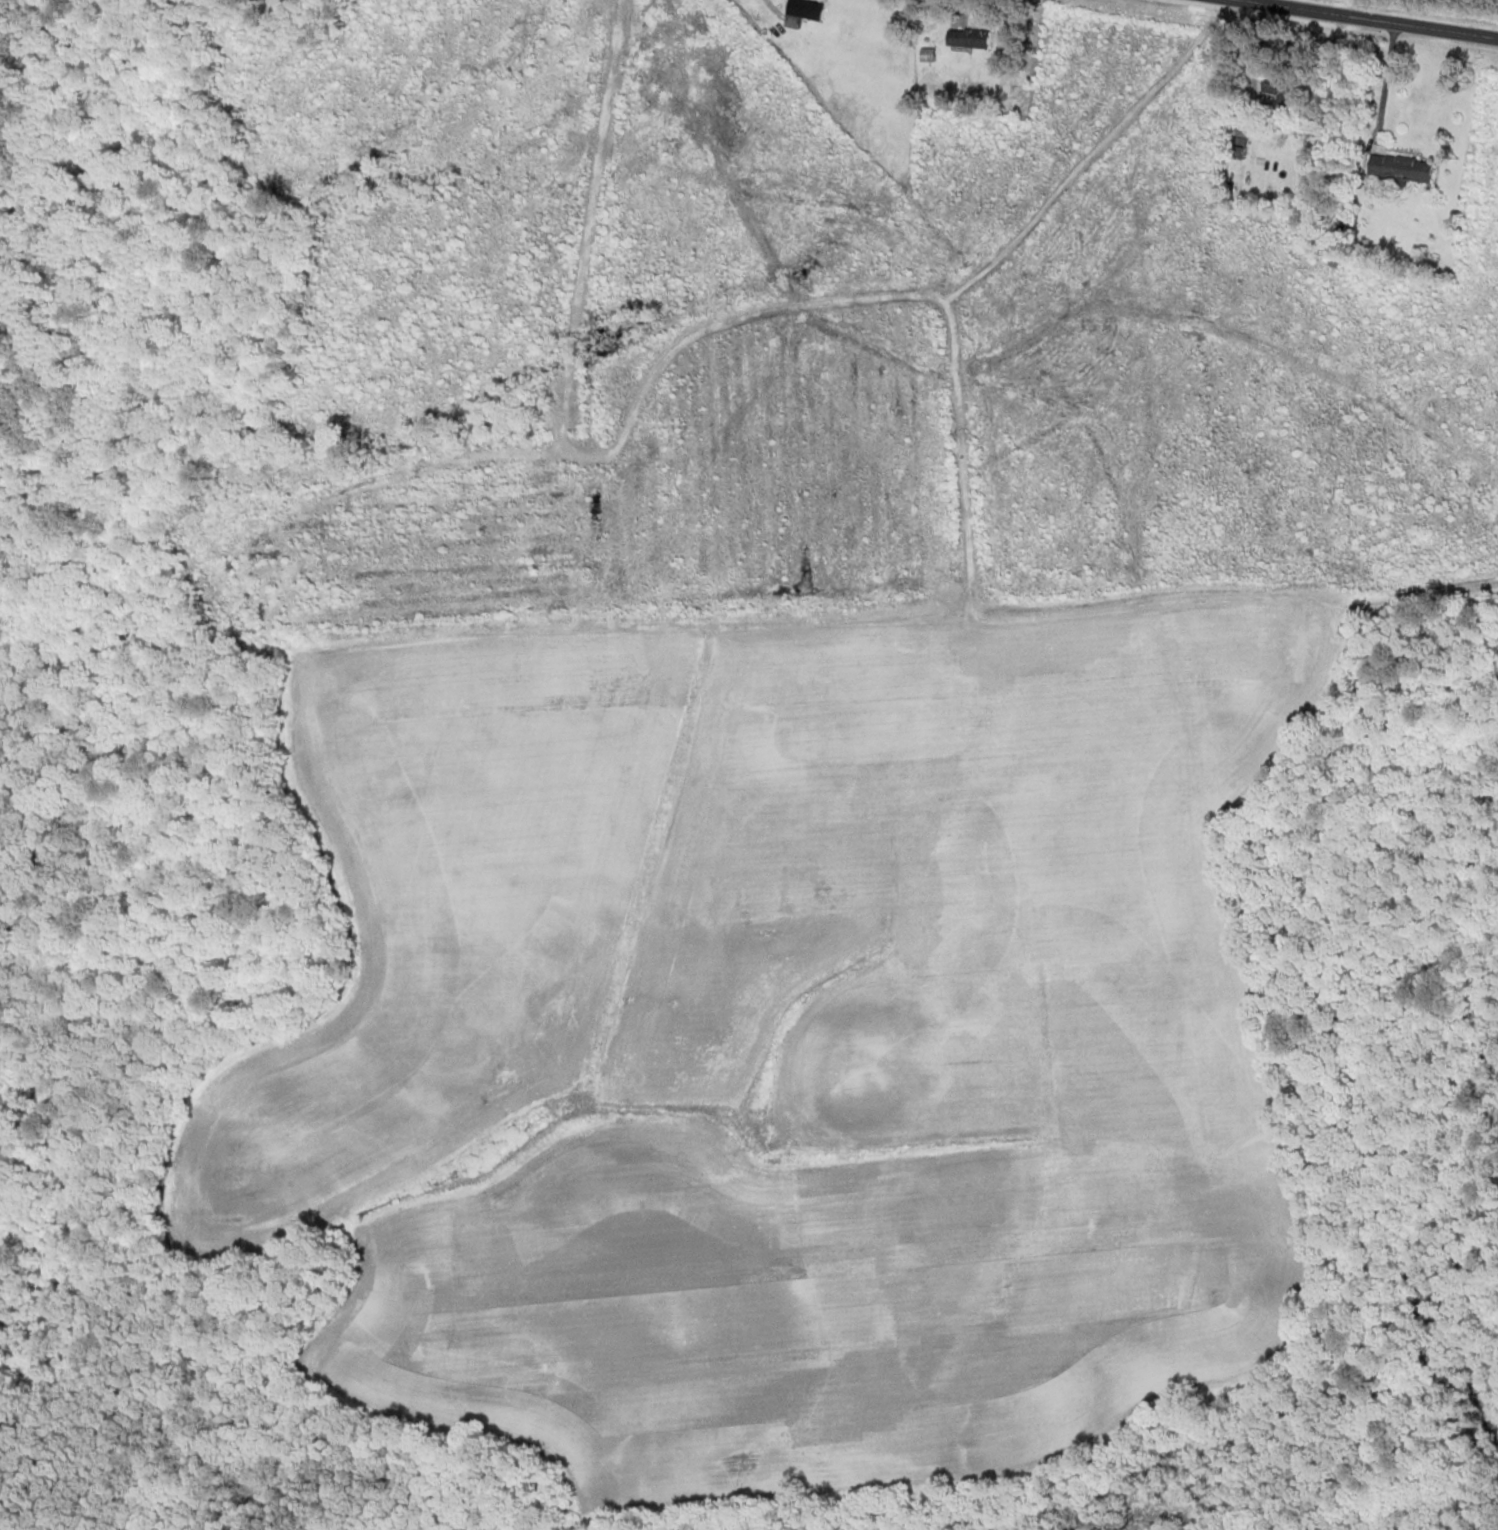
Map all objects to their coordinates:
road: (770, 8)
building: (803, 10)
road: (1371, 18)
building: (967, 39)
road: (1384, 83)
building: (1276, 89)
building: (1398, 169)
park: (7, 740)
park: (29, 1040)
park: (80, 1324)

